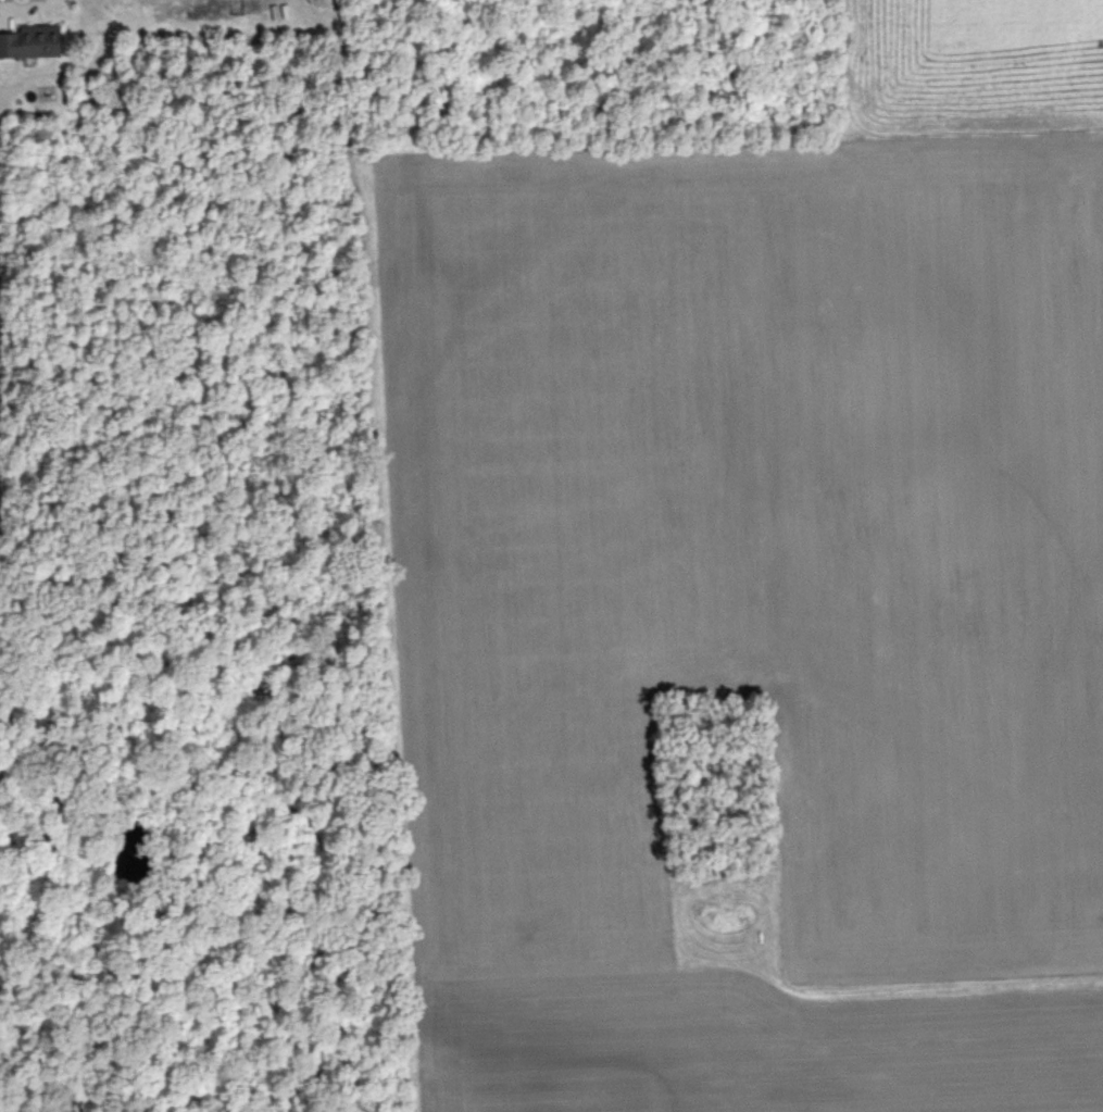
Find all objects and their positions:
building: (30, 40)

